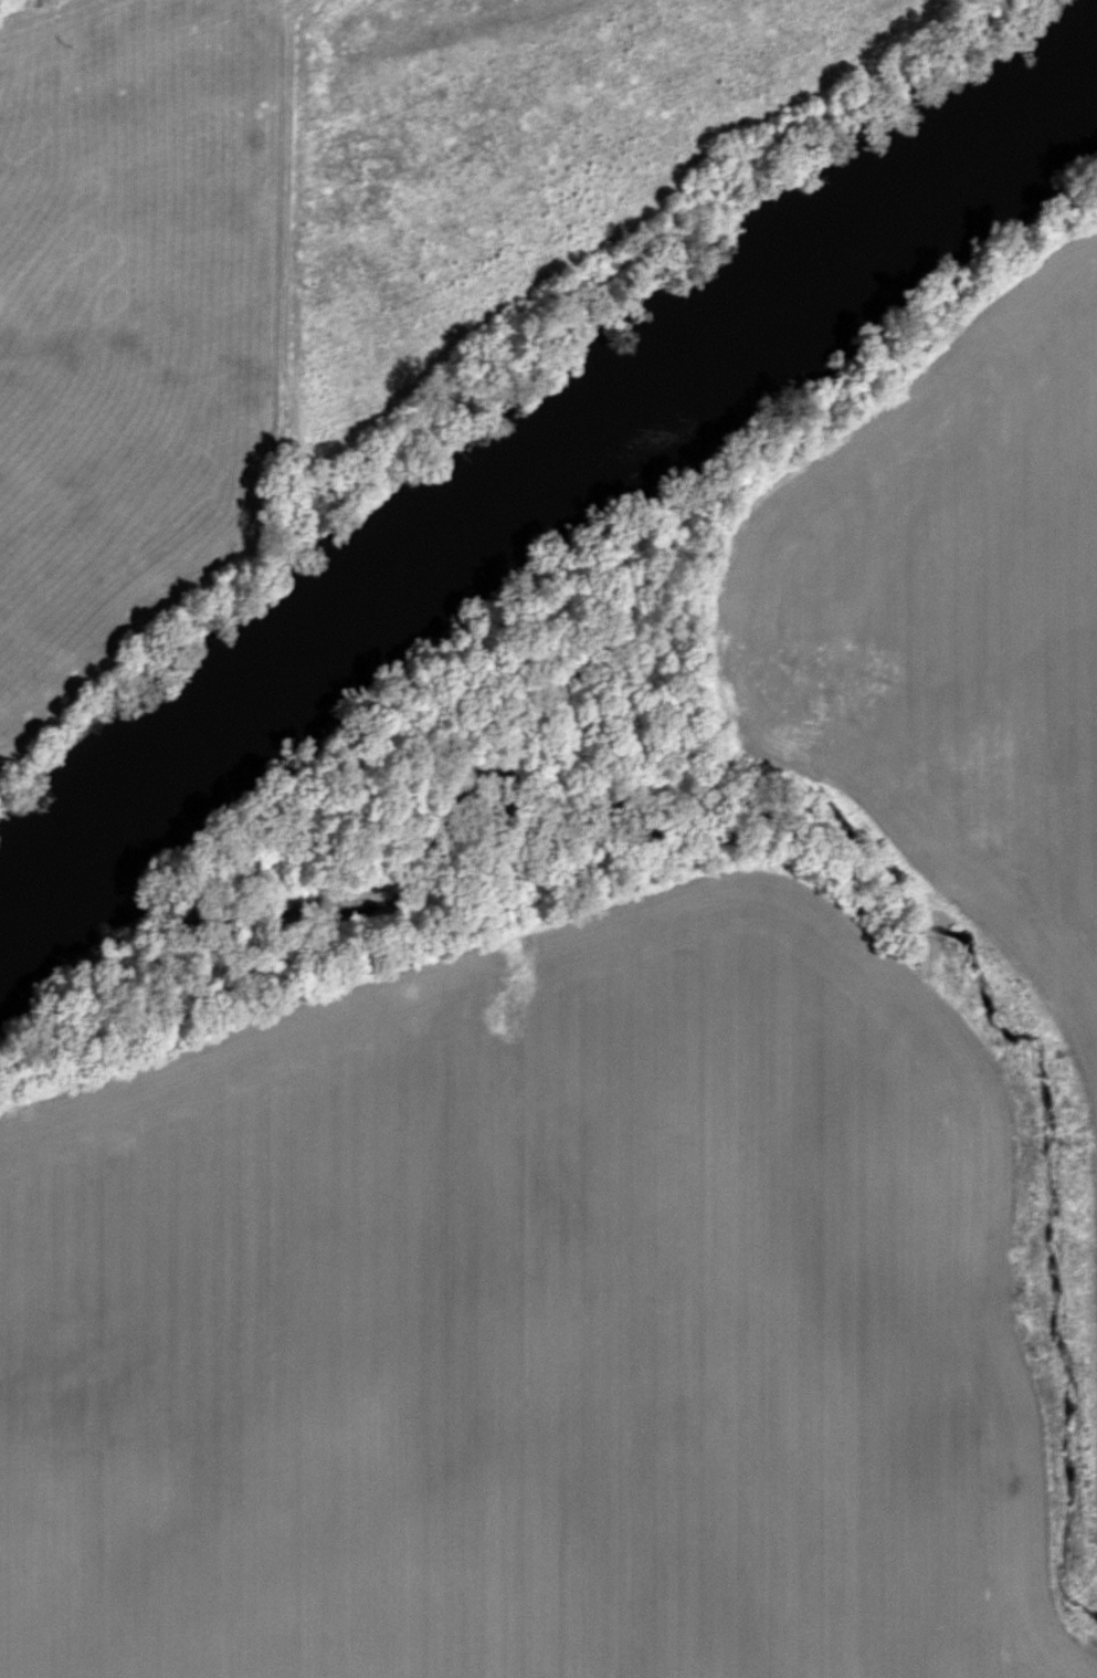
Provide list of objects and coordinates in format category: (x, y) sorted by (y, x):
crop: (150, 317)
river: (529, 460)
crop: (527, 1320)

